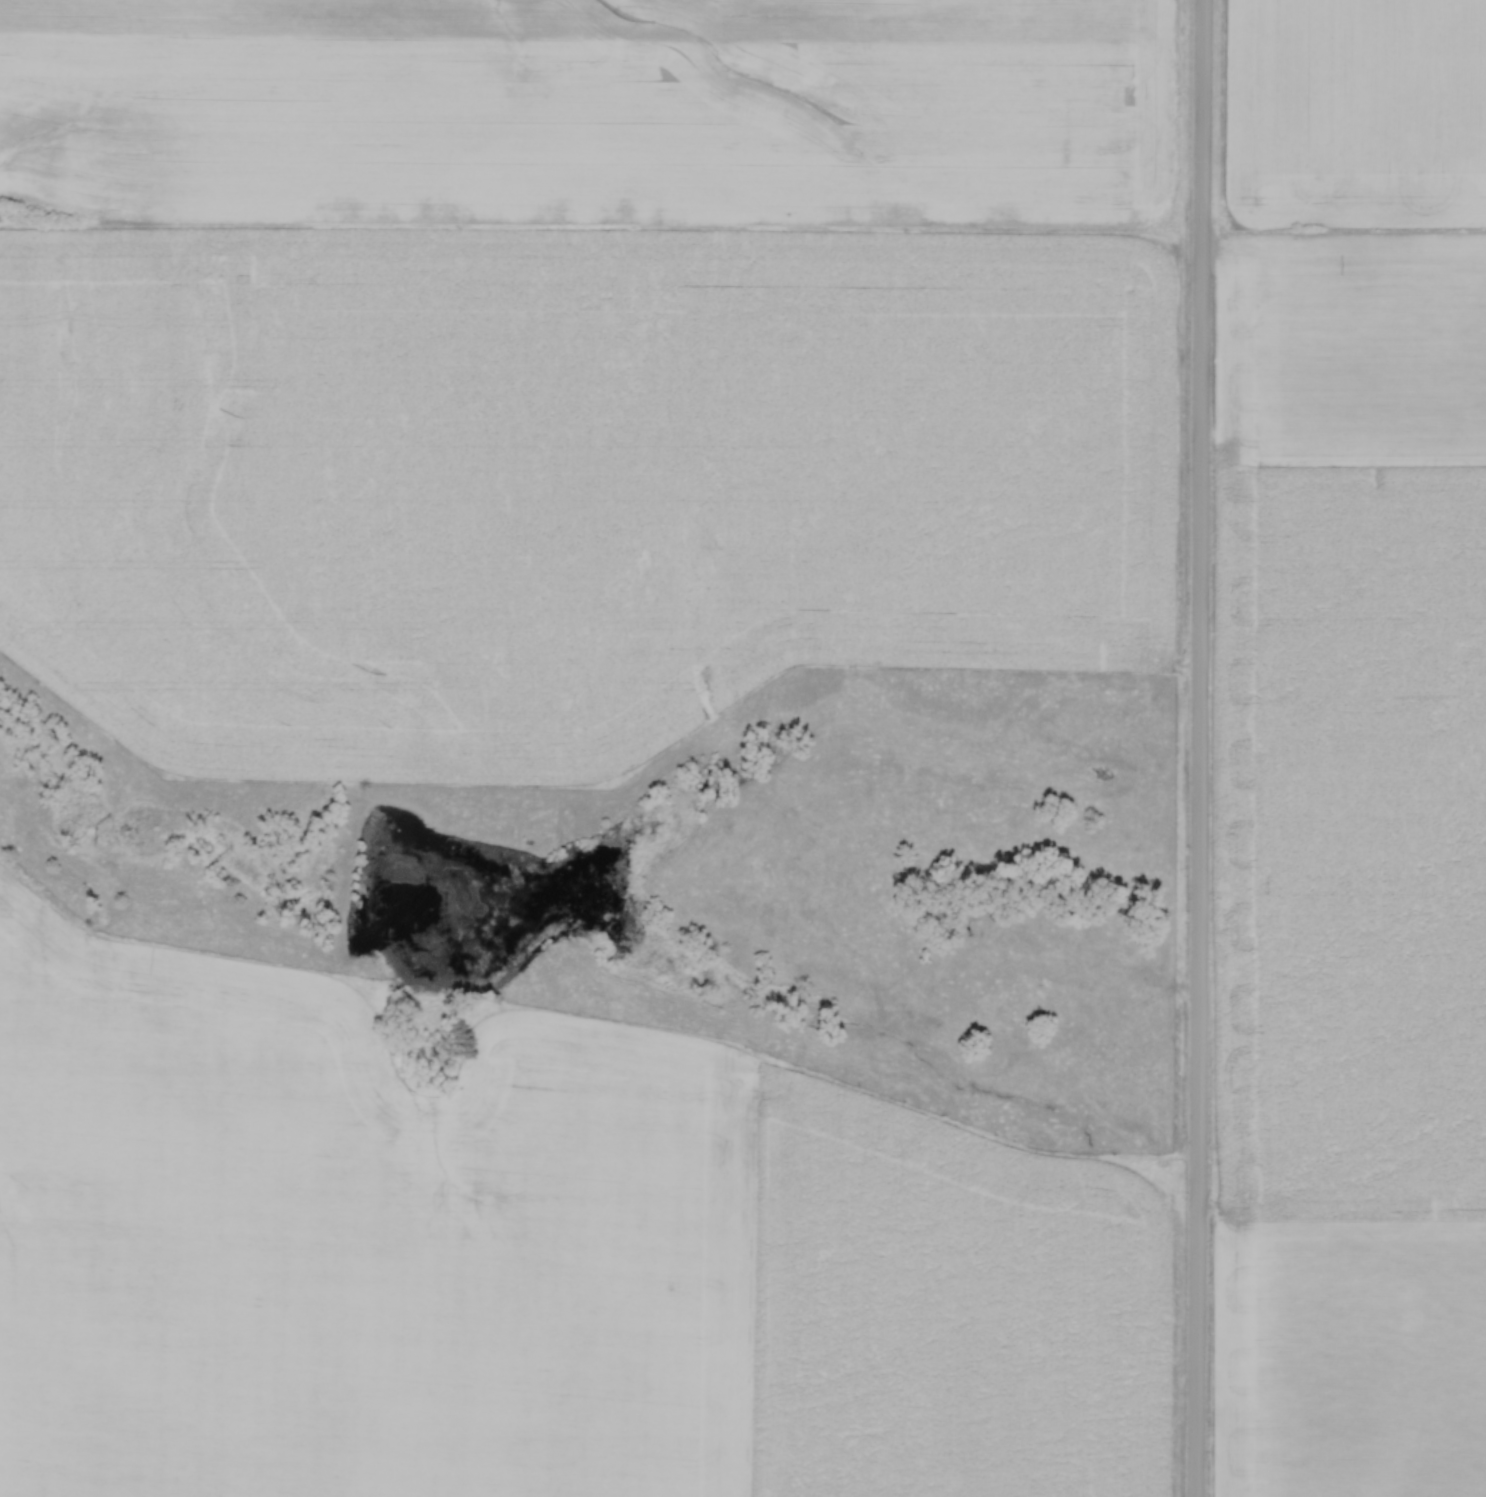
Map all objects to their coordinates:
road: (1209, 748)

